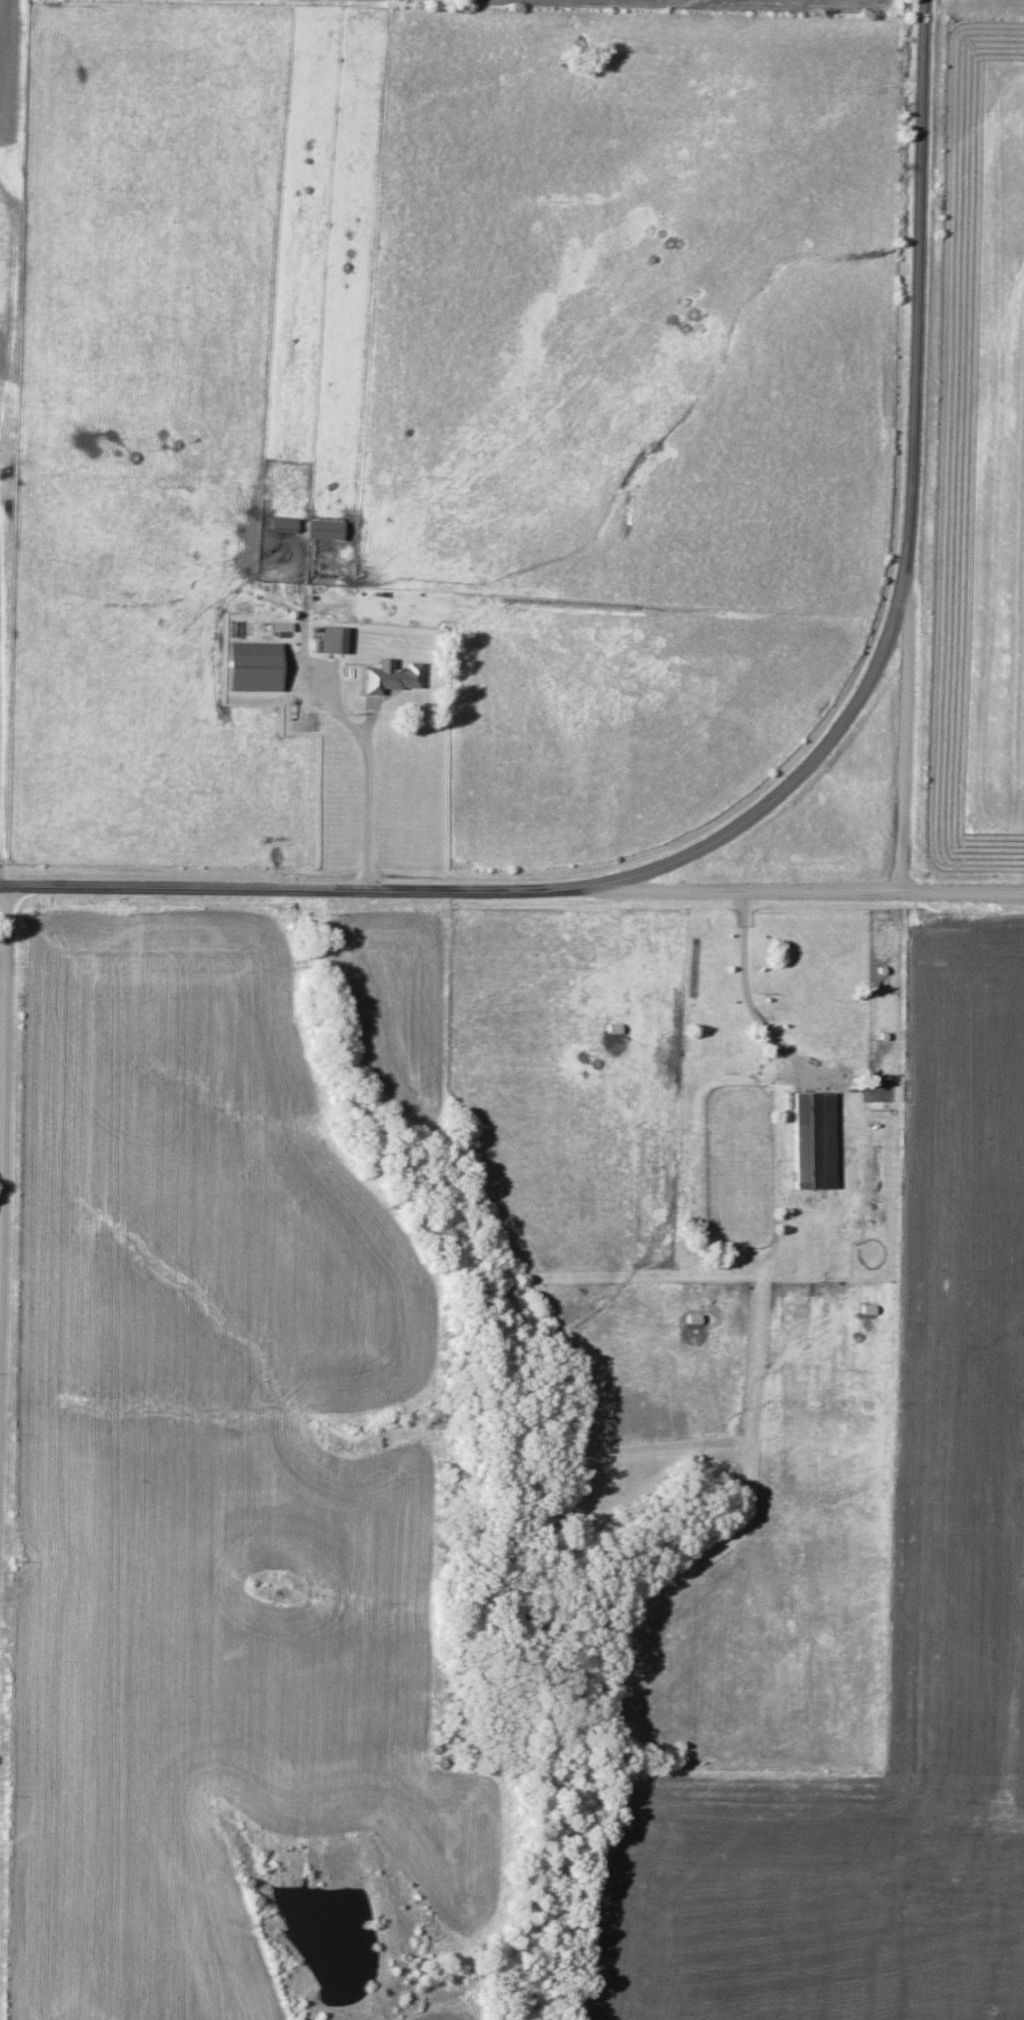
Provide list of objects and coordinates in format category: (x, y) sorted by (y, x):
road: (14, 251)
road: (910, 521)
building: (283, 525)
building: (324, 530)
building: (332, 639)
building: (254, 666)
building: (391, 677)
road: (906, 729)
road: (371, 793)
road: (1, 816)
road: (298, 892)
road: (749, 894)
road: (963, 896)
road: (743, 971)
building: (694, 976)
building: (712, 1026)
building: (827, 1046)
building: (812, 1141)
road: (5, 1157)

